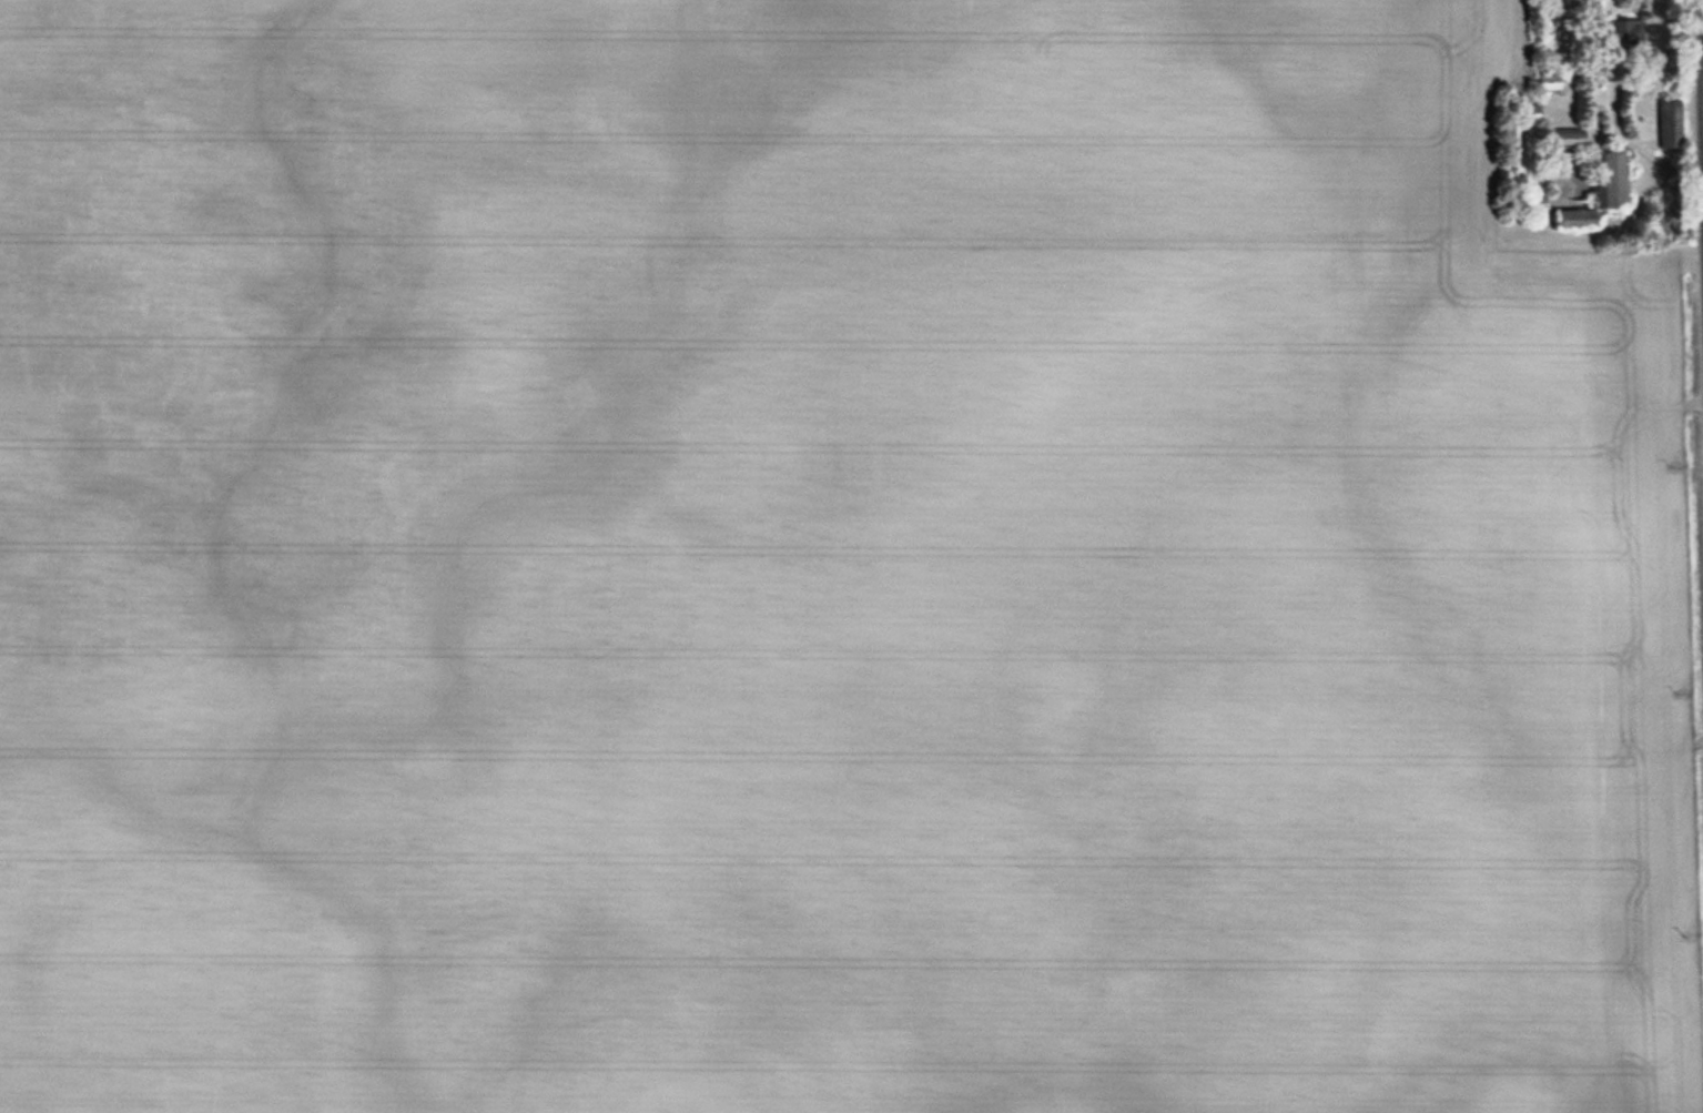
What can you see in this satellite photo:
building: (1625, 31)
building: (1549, 80)
building: (1531, 112)
building: (1670, 122)
building: (1564, 136)
building: (1612, 179)
building: (1527, 200)
building: (1573, 216)

